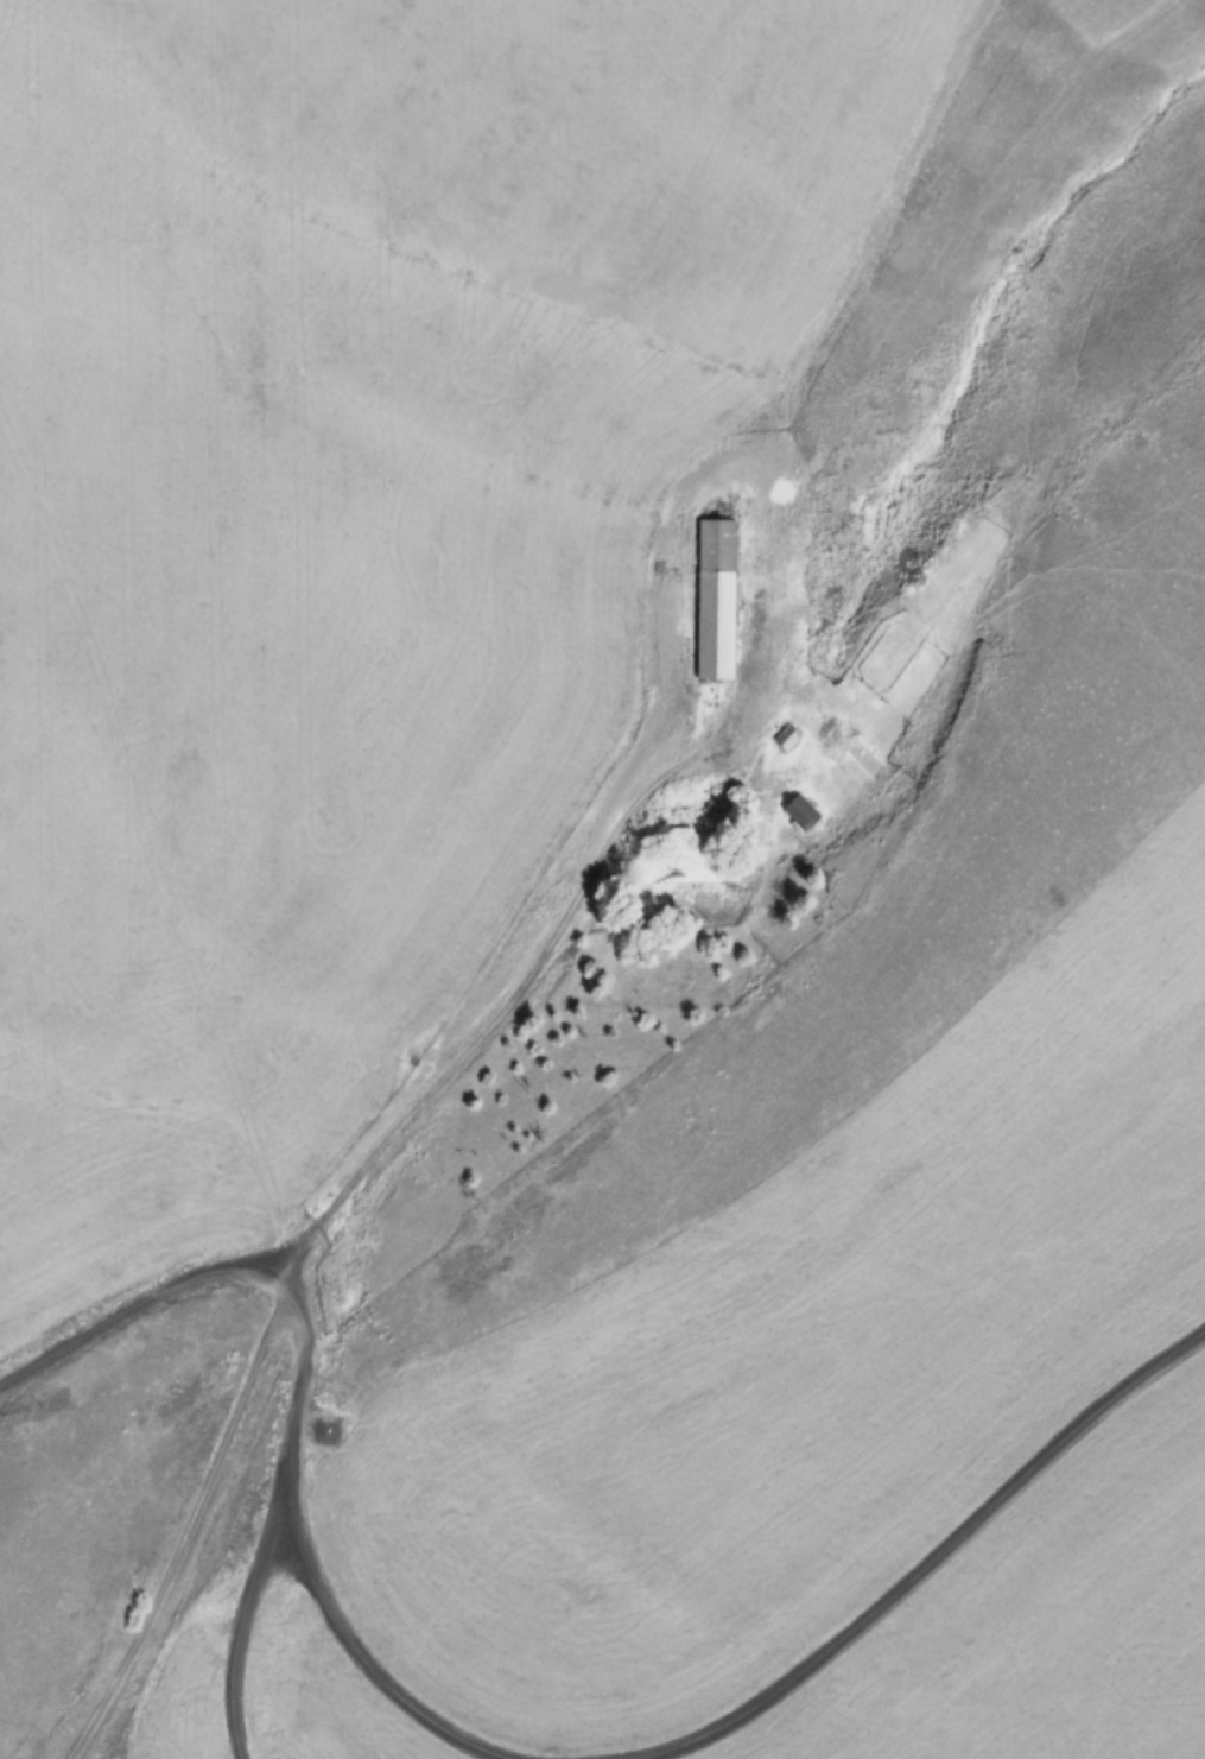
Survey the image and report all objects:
building: (714, 599)
building: (785, 736)
building: (798, 811)
building: (686, 848)
road: (145, 1304)
road: (175, 1530)
road: (285, 1535)
road: (928, 1556)
road: (385, 1679)

